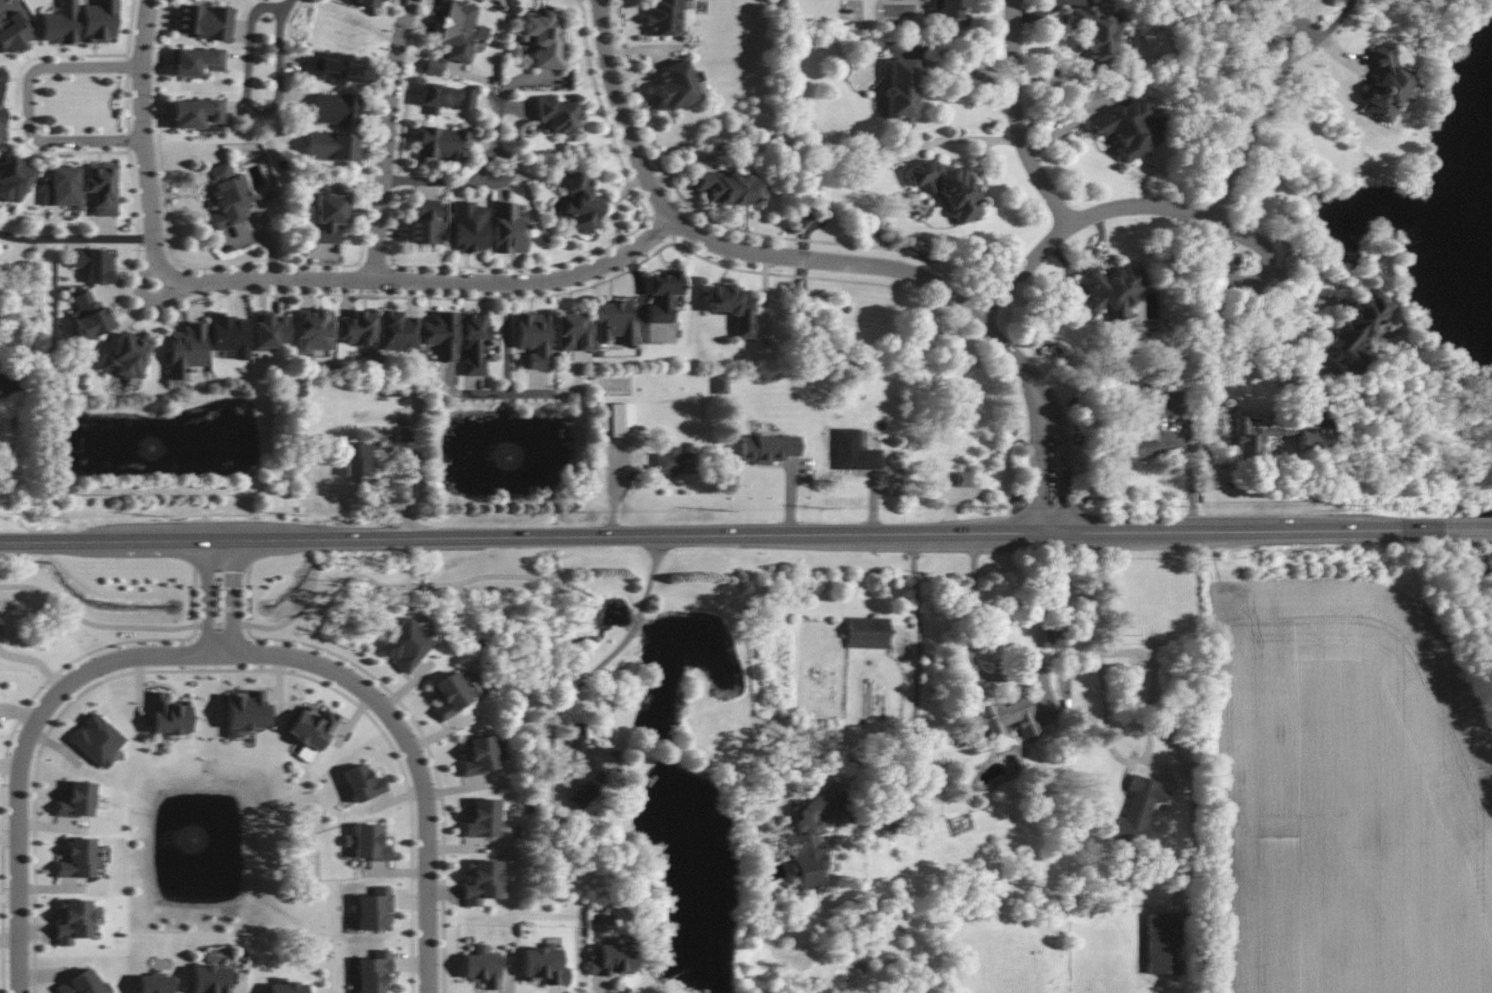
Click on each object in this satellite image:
building: (368, 3)
road: (291, 6)
building: (947, 8)
building: (668, 16)
building: (98, 21)
building: (203, 22)
road: (1300, 22)
building: (60, 24)
road: (1326, 26)
building: (459, 30)
building: (1093, 32)
building: (14, 33)
building: (543, 38)
building: (196, 61)
building: (335, 67)
building: (432, 67)
building: (1, 84)
building: (677, 84)
building: (1385, 85)
building: (902, 91)
road: (506, 92)
building: (446, 97)
road: (33, 104)
road: (272, 108)
building: (336, 109)
building: (196, 113)
building: (557, 114)
road: (1020, 118)
building: (2, 125)
building: (1126, 128)
road: (962, 137)
road: (388, 140)
building: (441, 143)
building: (331, 146)
road: (147, 170)
building: (13, 177)
road: (488, 183)
building: (61, 187)
building: (102, 187)
building: (729, 188)
building: (949, 188)
building: (227, 194)
building: (580, 205)
road: (616, 210)
road: (1176, 210)
building: (328, 215)
building: (425, 224)
building: (469, 227)
building: (509, 229)
road: (77, 240)
road: (755, 255)
building: (94, 265)
road: (1258, 279)
road: (418, 282)
building: (1112, 290)
building: (663, 294)
building: (732, 307)
building: (90, 316)
building: (615, 321)
building: (357, 328)
building: (269, 330)
building: (398, 330)
building: (1353, 331)
building: (573, 332)
building: (314, 333)
building: (230, 334)
building: (442, 335)
road: (508, 337)
building: (534, 338)
building: (474, 342)
road: (1291, 346)
building: (186, 350)
building: (126, 356)
building: (721, 384)
building: (7, 386)
building: (396, 390)
road: (516, 392)
building: (1170, 401)
building: (621, 420)
building: (404, 433)
building: (1248, 435)
building: (1315, 438)
building: (768, 448)
building: (1139, 450)
building: (857, 451)
road: (1039, 455)
building: (358, 459)
road: (1064, 460)
building: (674, 461)
building: (963, 479)
road: (1470, 527)
road: (724, 534)
road: (391, 585)
road: (217, 593)
road: (92, 623)
road: (220, 625)
road: (635, 625)
building: (868, 633)
building: (1126, 635)
road: (972, 636)
building: (1053, 638)
building: (406, 644)
road: (917, 678)
road: (1045, 687)
building: (450, 694)
building: (246, 712)
building: (169, 716)
building: (1005, 718)
building: (311, 732)
road: (1108, 738)
building: (97, 739)
road: (23, 752)
building: (480, 755)
road: (412, 756)
building: (587, 763)
building: (362, 783)
building: (77, 800)
building: (1138, 809)
building: (483, 819)
building: (811, 837)
building: (370, 842)
building: (78, 859)
building: (483, 882)
building: (375, 910)
building: (73, 921)
building: (1164, 943)
building: (611, 959)
building: (543, 965)
building: (482, 967)
building: (374, 972)
building: (210, 979)
building: (83, 984)
building: (154, 984)
building: (287, 986)

